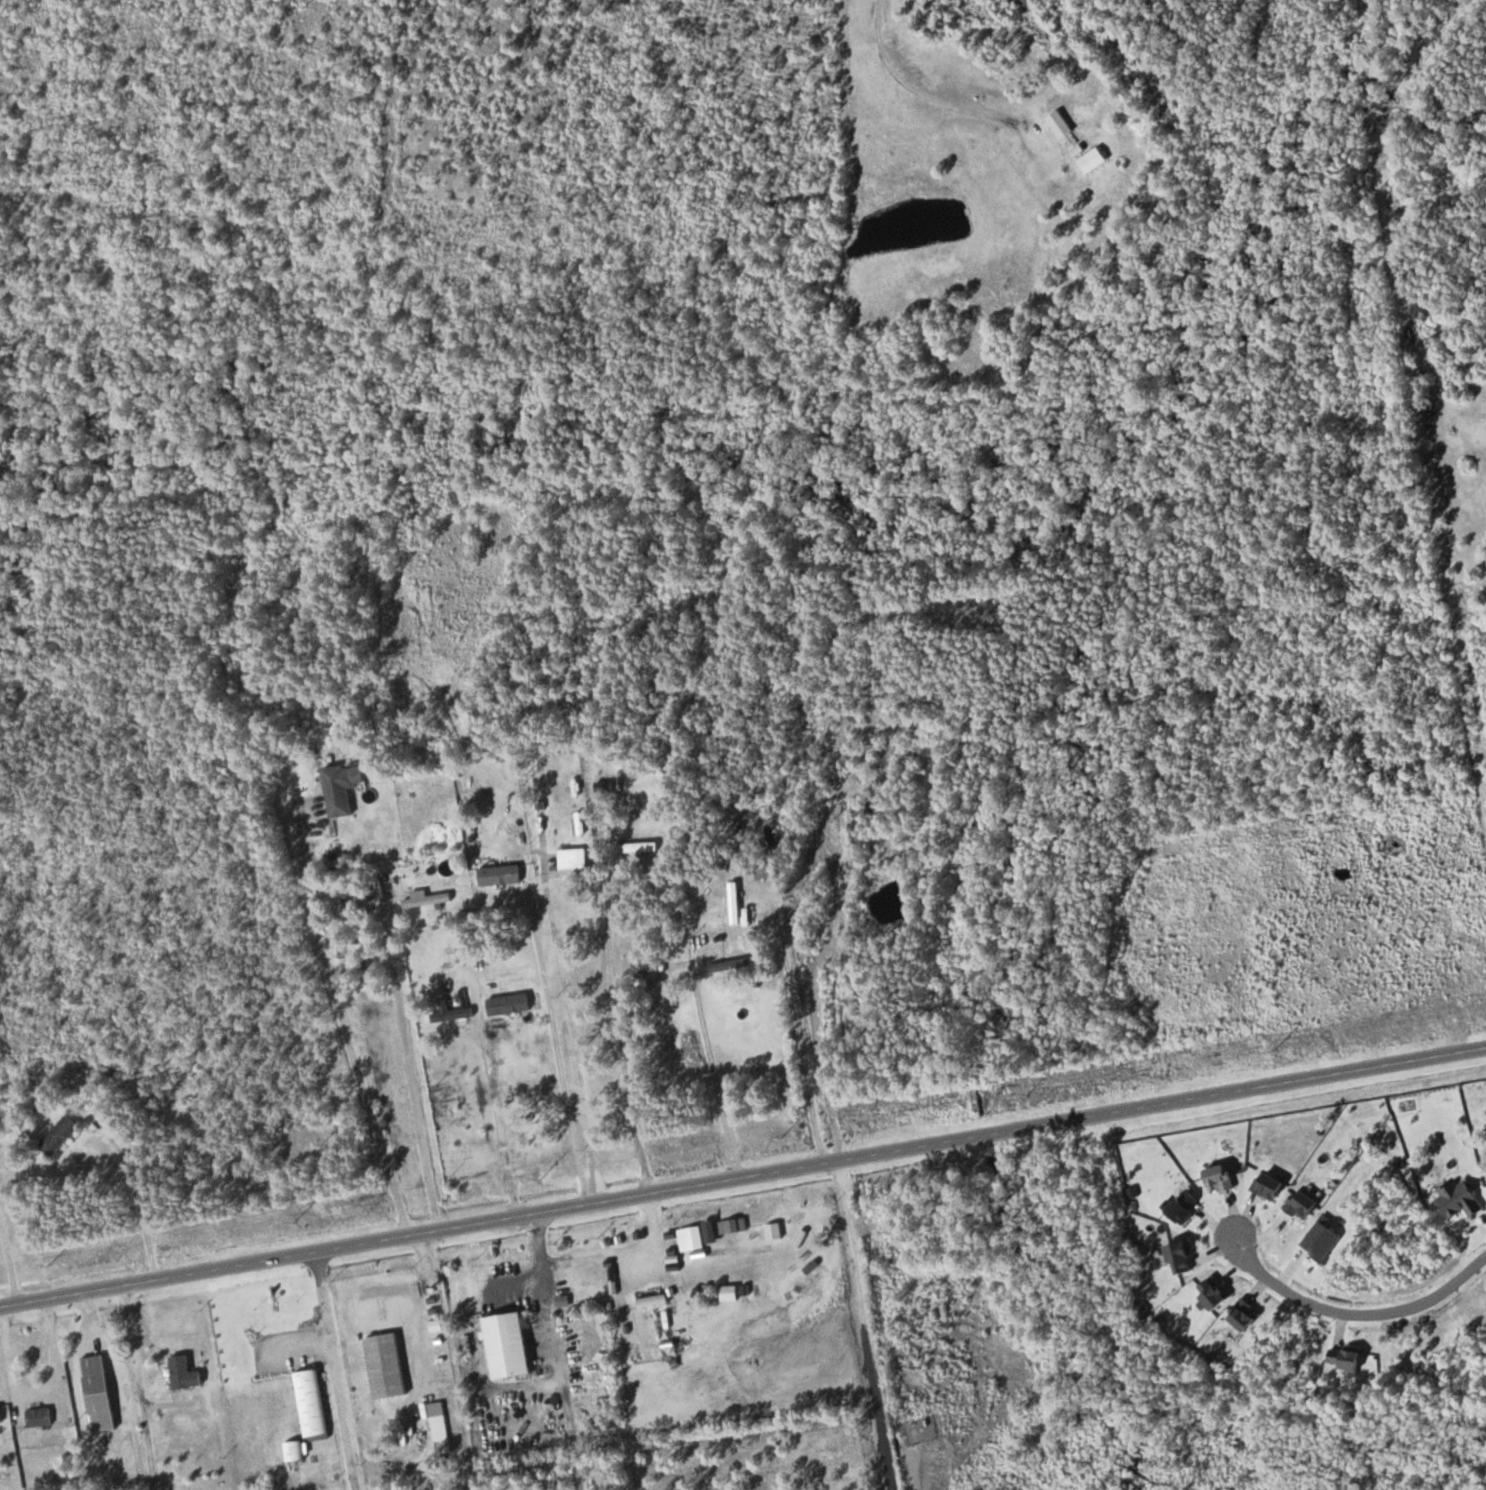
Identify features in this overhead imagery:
road: (929, 95)
building: (1062, 125)
building: (1095, 160)
building: (345, 787)
building: (879, 812)
building: (639, 846)
building: (767, 870)
building: (502, 875)
building: (427, 899)
building: (737, 902)
building: (511, 1004)
building: (454, 1014)
road: (345, 1022)
power tower: (1273, 1051)
power tower: (1029, 1095)
building: (62, 1134)
power tower: (781, 1138)
road: (742, 1172)
power tower: (542, 1179)
power tower: (291, 1221)
power tower: (50, 1264)
building: (590, 1271)
road: (1358, 1314)
building: (511, 1345)
building: (388, 1365)
road: (139, 1385)
building: (101, 1392)
building: (313, 1403)
building: (2, 1414)
building: (41, 1417)
building: (442, 1427)
building: (295, 1450)

